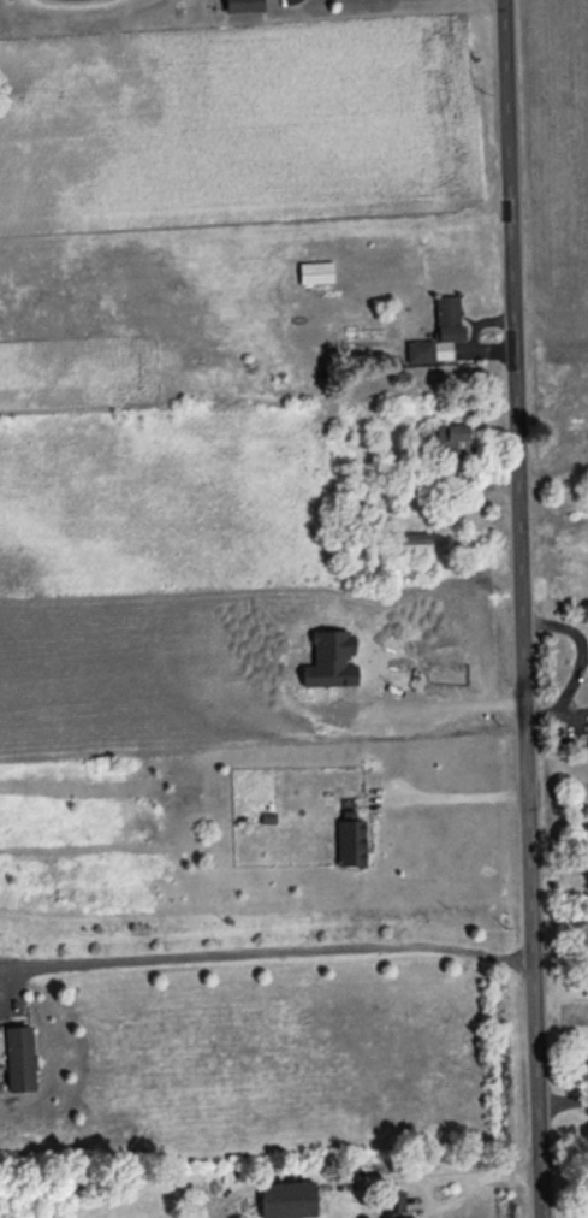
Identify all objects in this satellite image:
building: (243, 6)
crop: (231, 144)
building: (316, 272)
building: (439, 333)
building: (451, 439)
building: (411, 540)
crop: (189, 585)
road: (519, 609)
building: (331, 660)
road: (449, 705)
road: (462, 798)
building: (351, 841)
road: (558, 865)
road: (266, 951)
building: (19, 1058)
road: (560, 1104)
road: (440, 1177)
building: (289, 1199)
building: (394, 1205)

